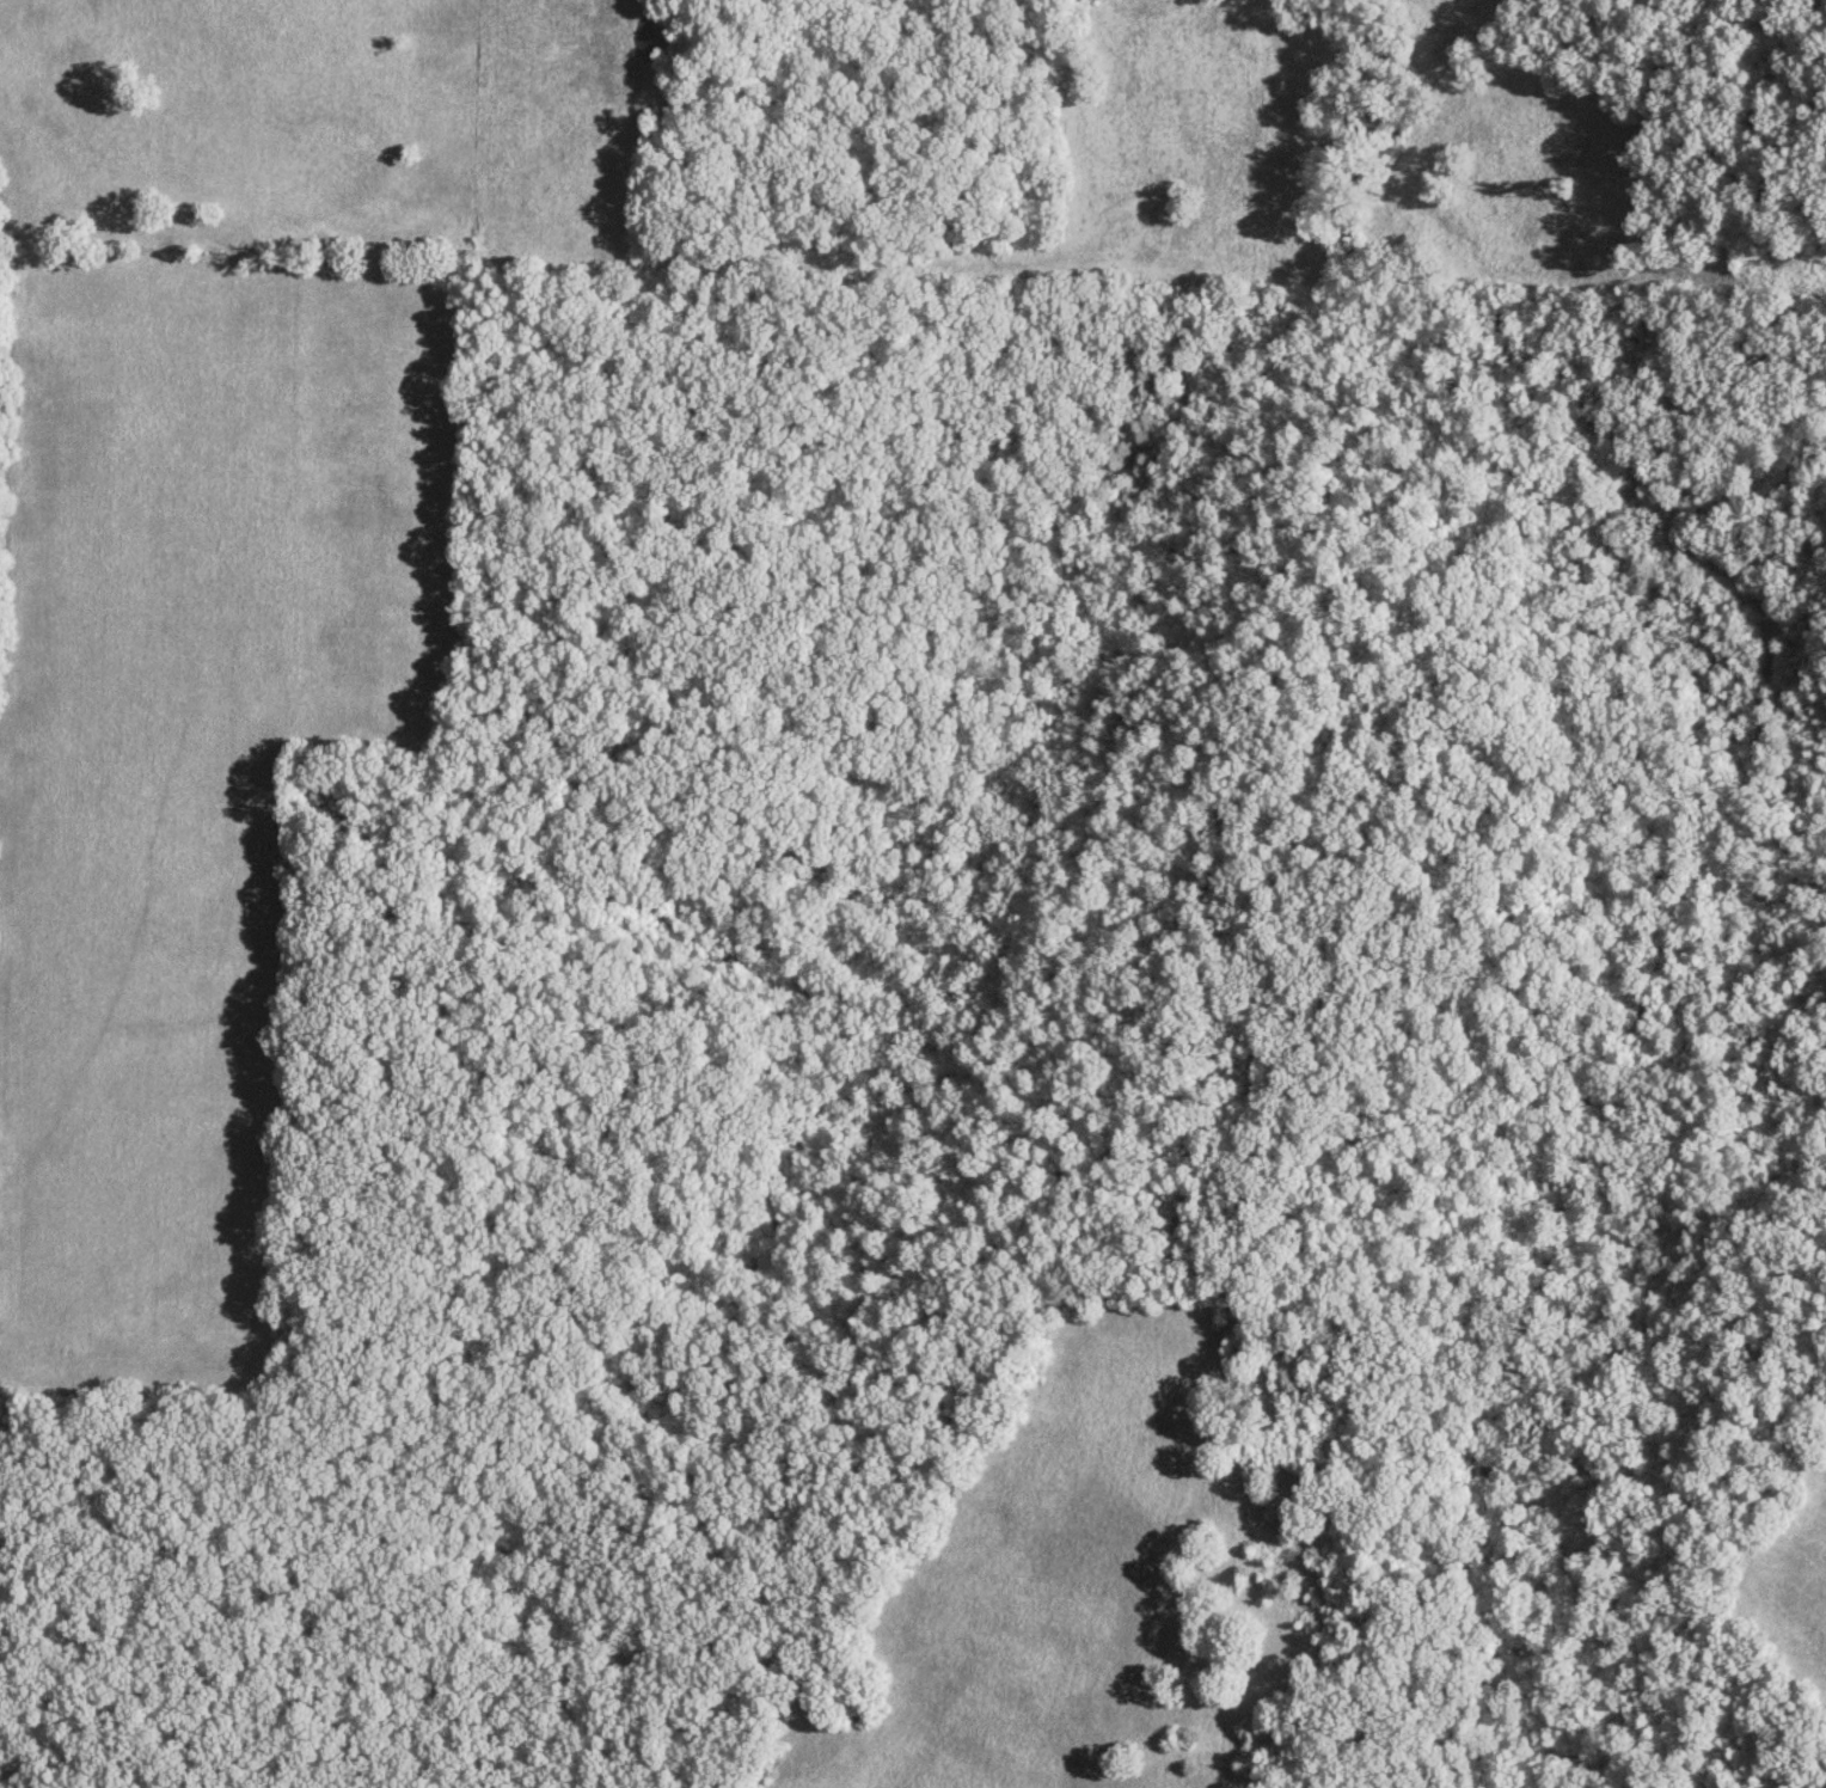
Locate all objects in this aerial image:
road: (1625, 580)

